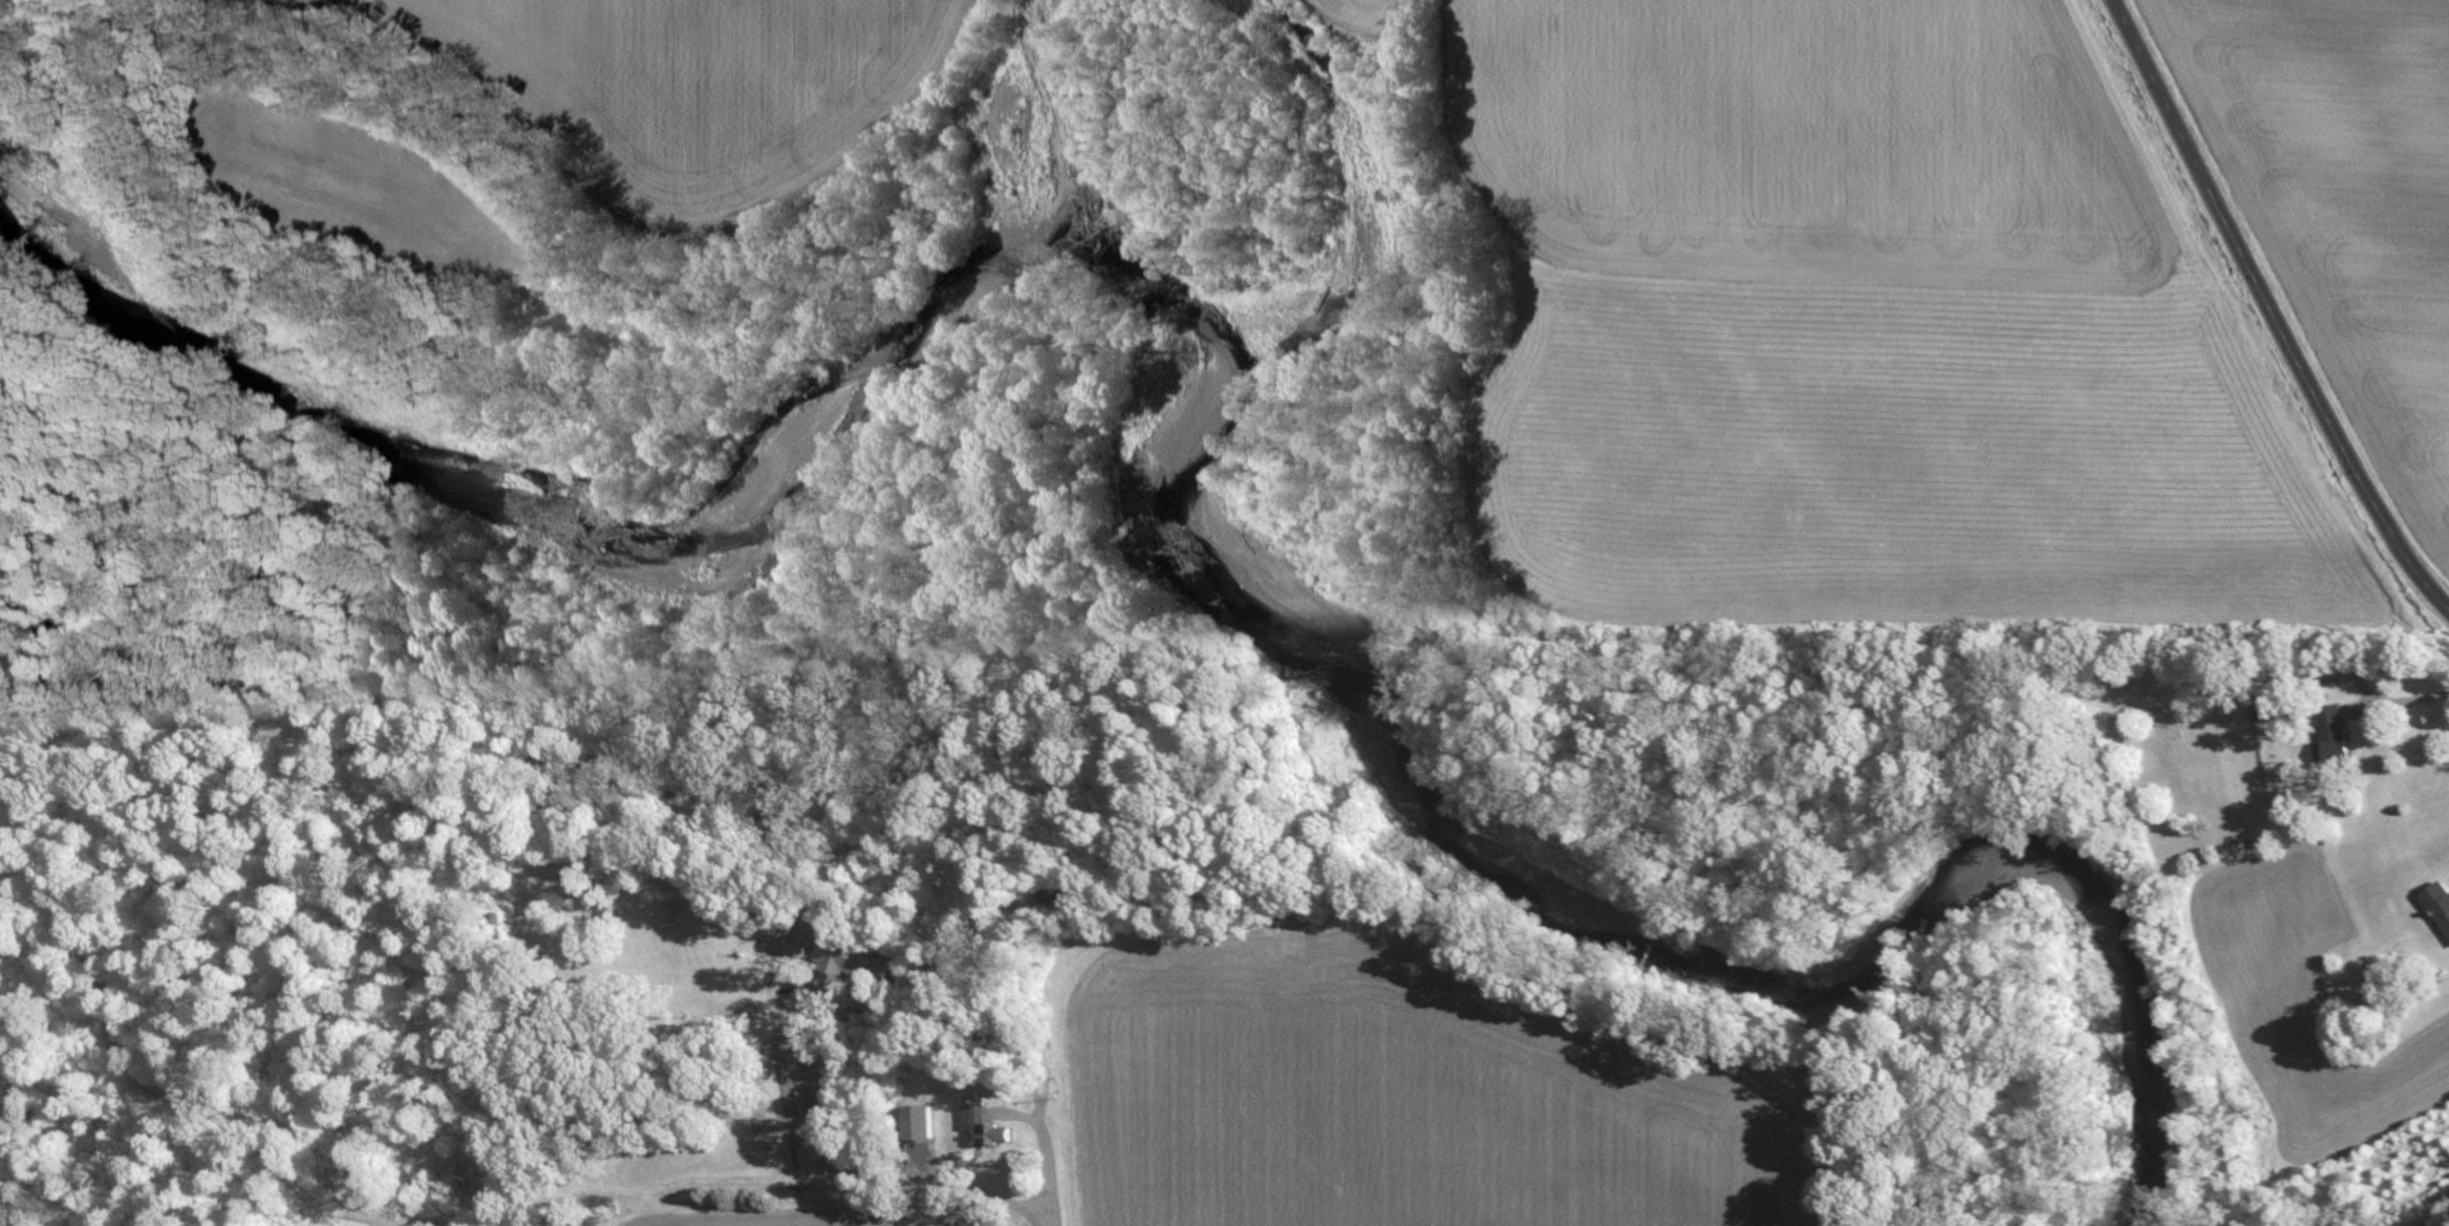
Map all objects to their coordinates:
road: (2269, 309)
road: (2408, 697)
building: (2333, 731)
building: (2438, 900)
building: (865, 969)
building: (920, 1119)
building: (982, 1120)
road: (864, 1173)

